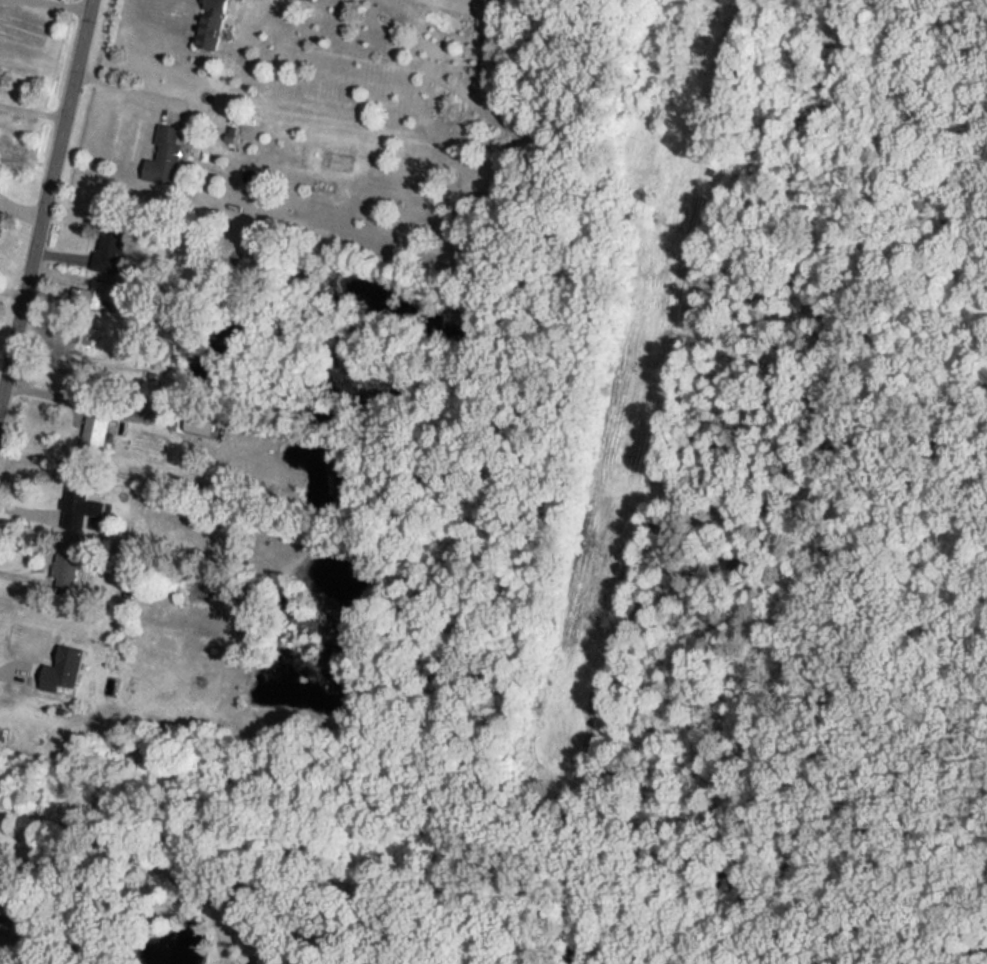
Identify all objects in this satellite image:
building: (212, 4)
road: (52, 5)
road: (32, 110)
building: (162, 147)
road: (45, 197)
road: (116, 850)

